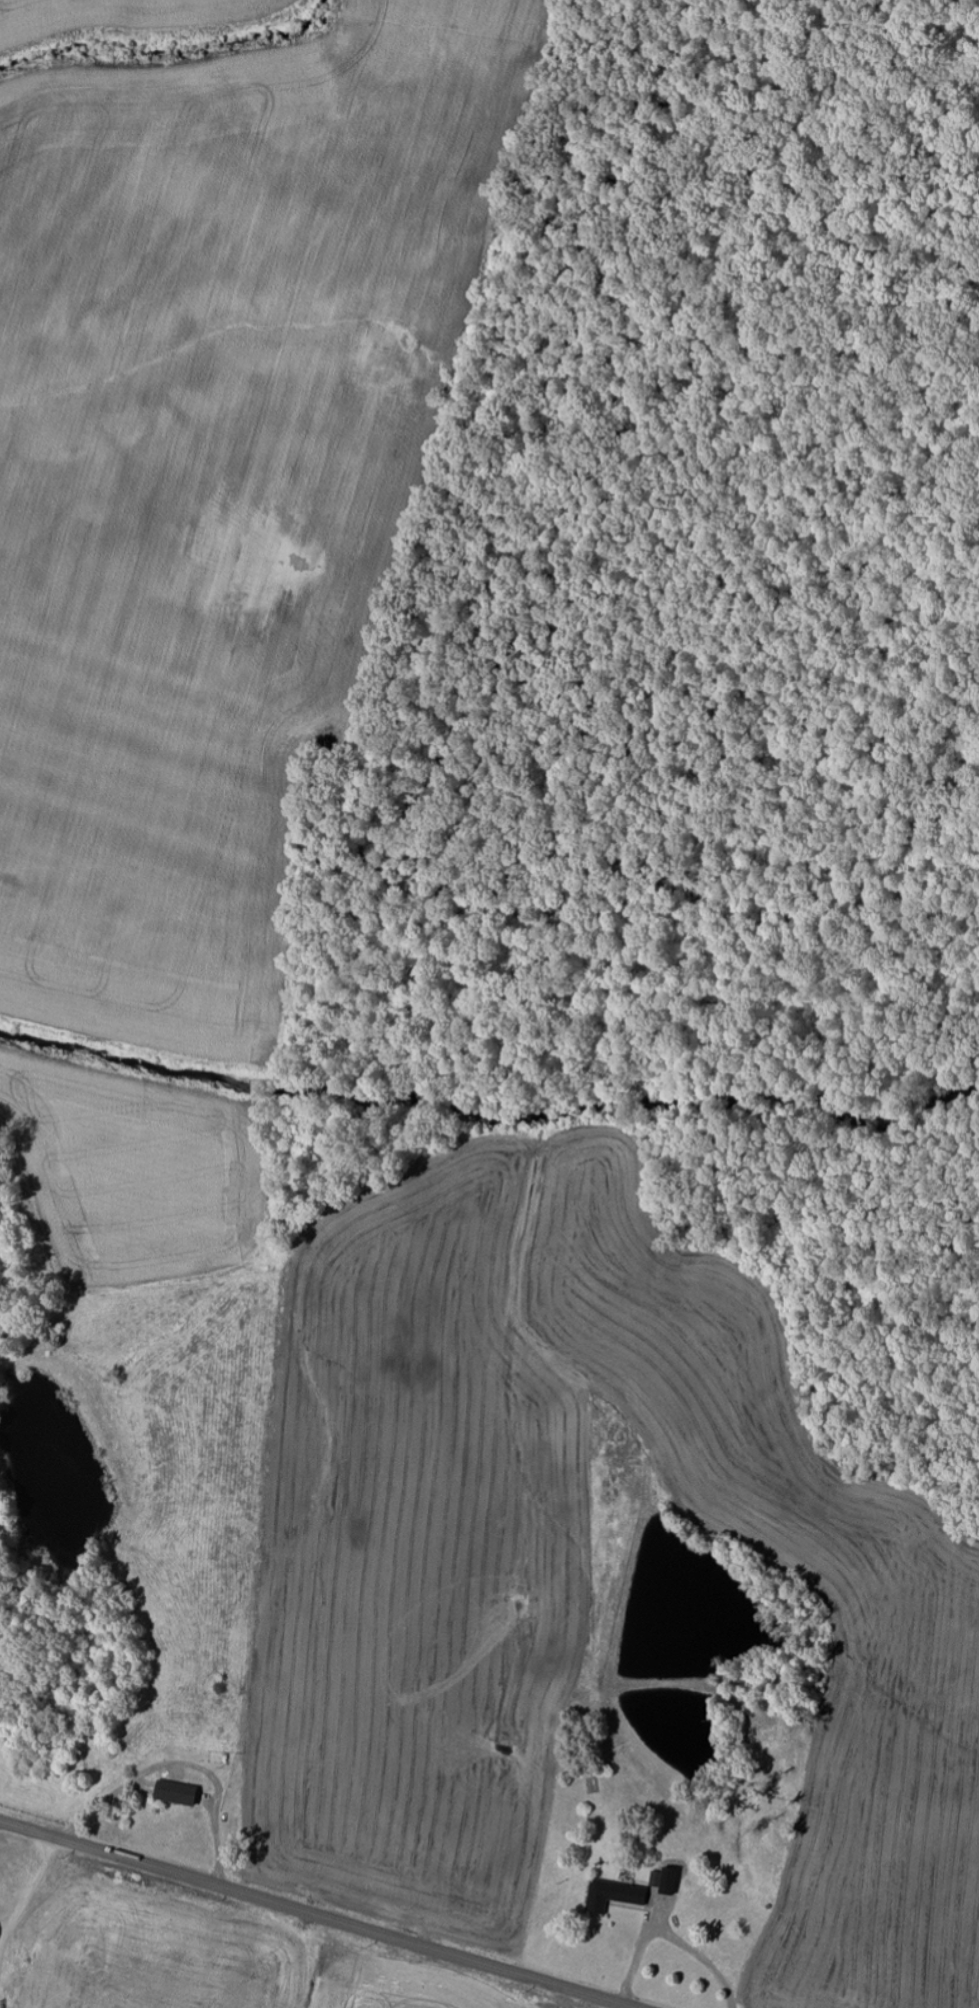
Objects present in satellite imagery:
building: (173, 1793)
building: (663, 1881)
building: (611, 1896)
road: (316, 1914)

